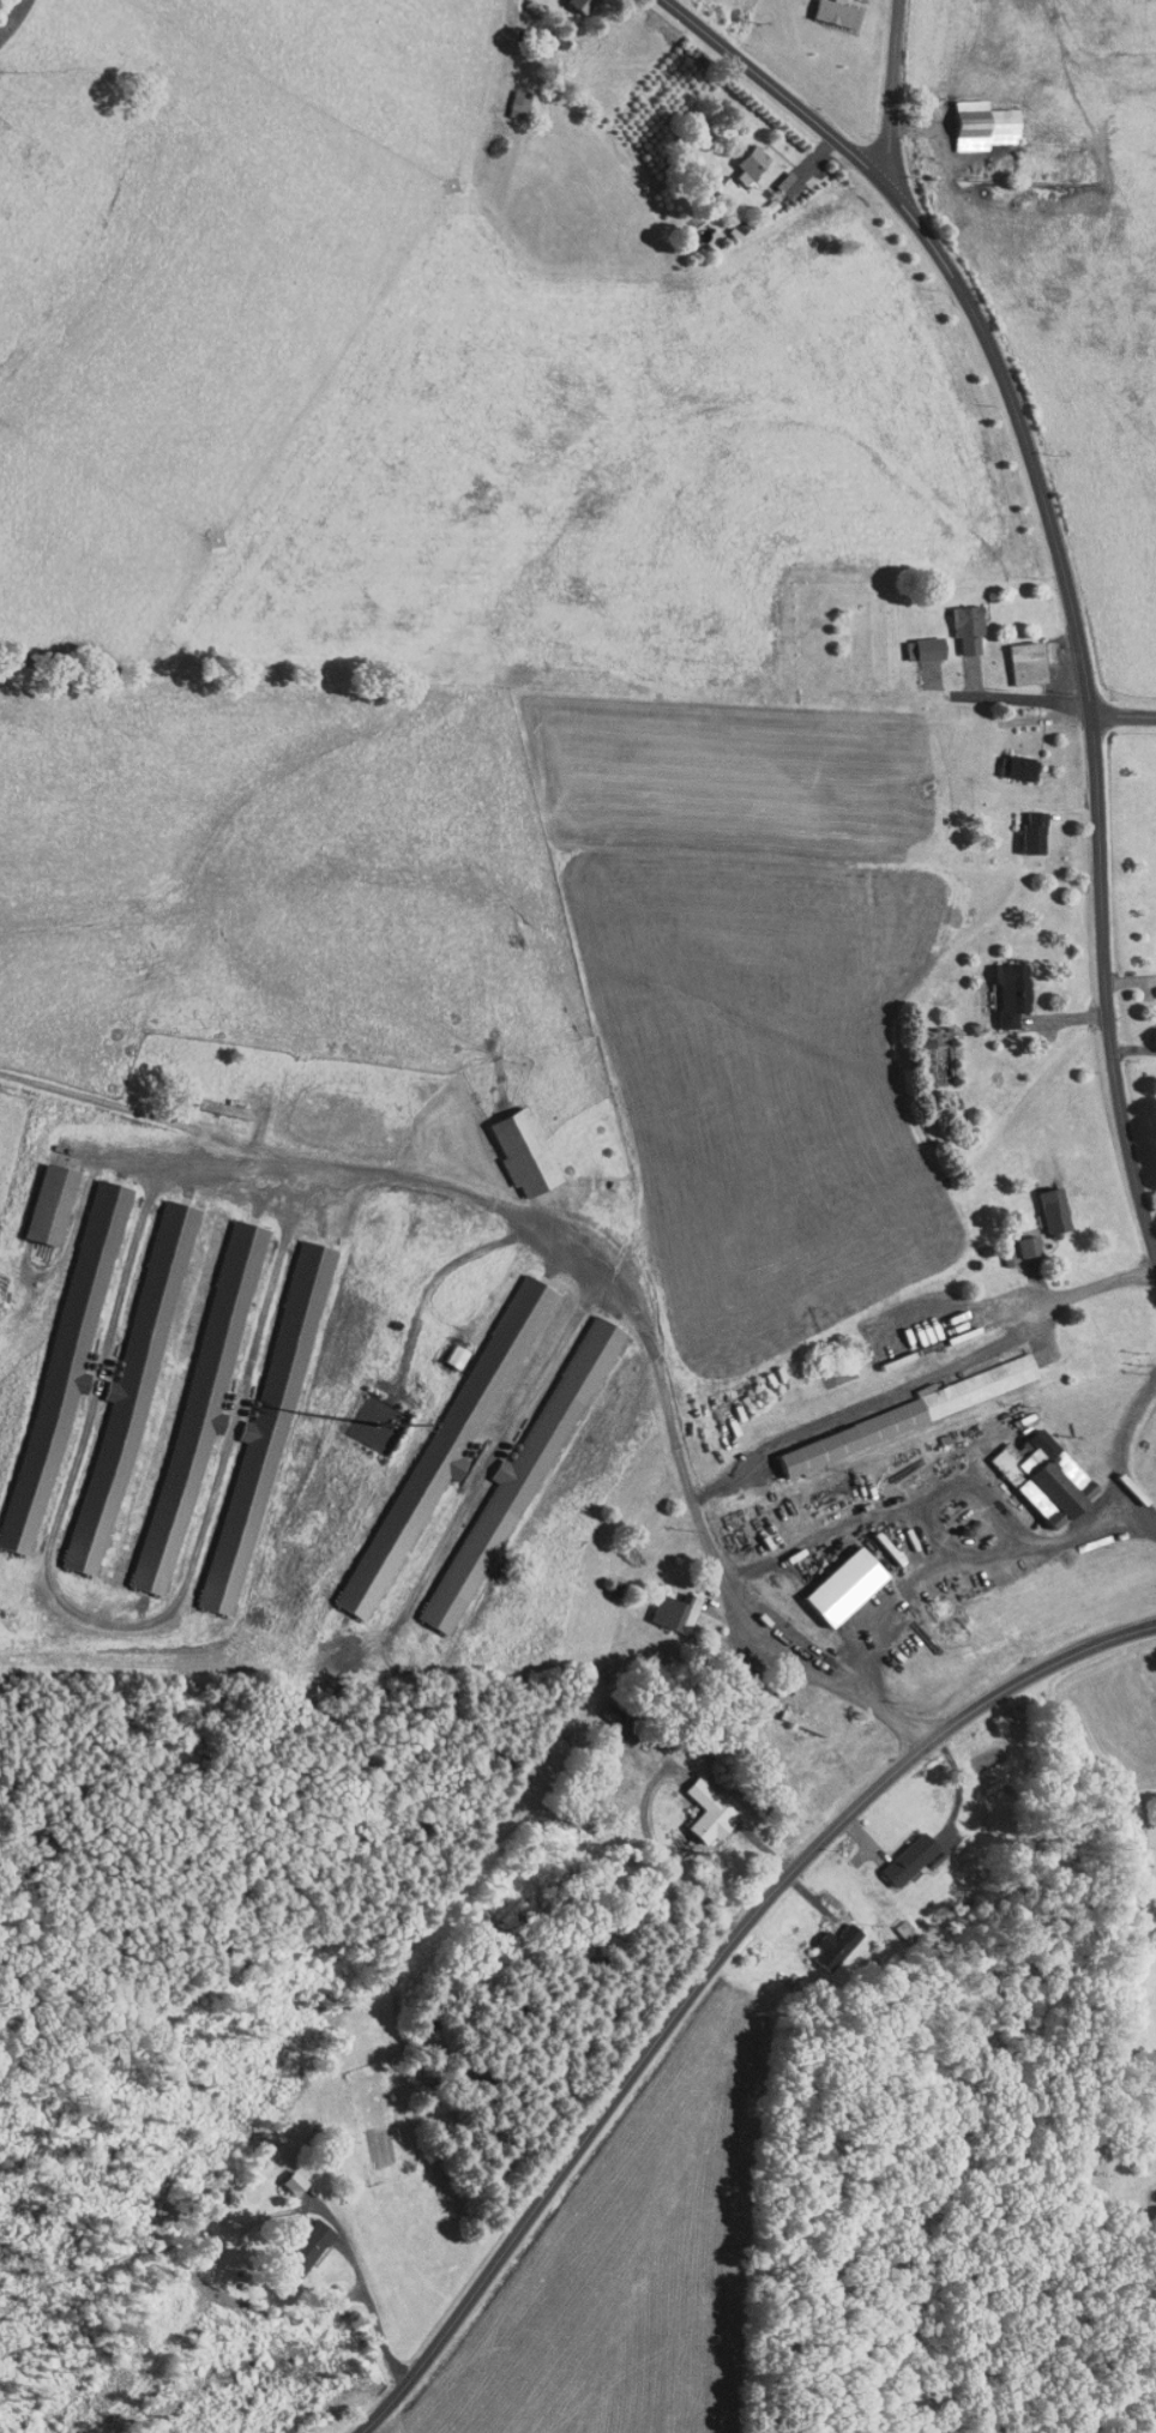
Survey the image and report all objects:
building: (571, 2)
building: (829, 8)
road: (687, 23)
road: (875, 92)
building: (506, 97)
building: (974, 118)
building: (742, 155)
building: (776, 176)
road: (1060, 591)
building: (957, 619)
building: (919, 640)
building: (1017, 655)
road: (1120, 719)
building: (1023, 825)
building: (1004, 984)
building: (926, 1046)
road: (1132, 1048)
building: (213, 1100)
building: (514, 1145)
building: (41, 1197)
building: (1019, 1239)
road: (606, 1241)
building: (55, 1344)
building: (446, 1348)
road: (923, 1379)
building: (193, 1387)
building: (116, 1392)
building: (909, 1402)
building: (441, 1427)
building: (254, 1432)
road: (1120, 1450)
building: (1034, 1468)
building: (504, 1480)
road: (968, 1554)
building: (836, 1578)
building: (666, 1604)
building: (698, 1805)
building: (901, 1851)
building: (825, 1939)
road: (703, 1973)
building: (284, 2175)
building: (300, 2236)

